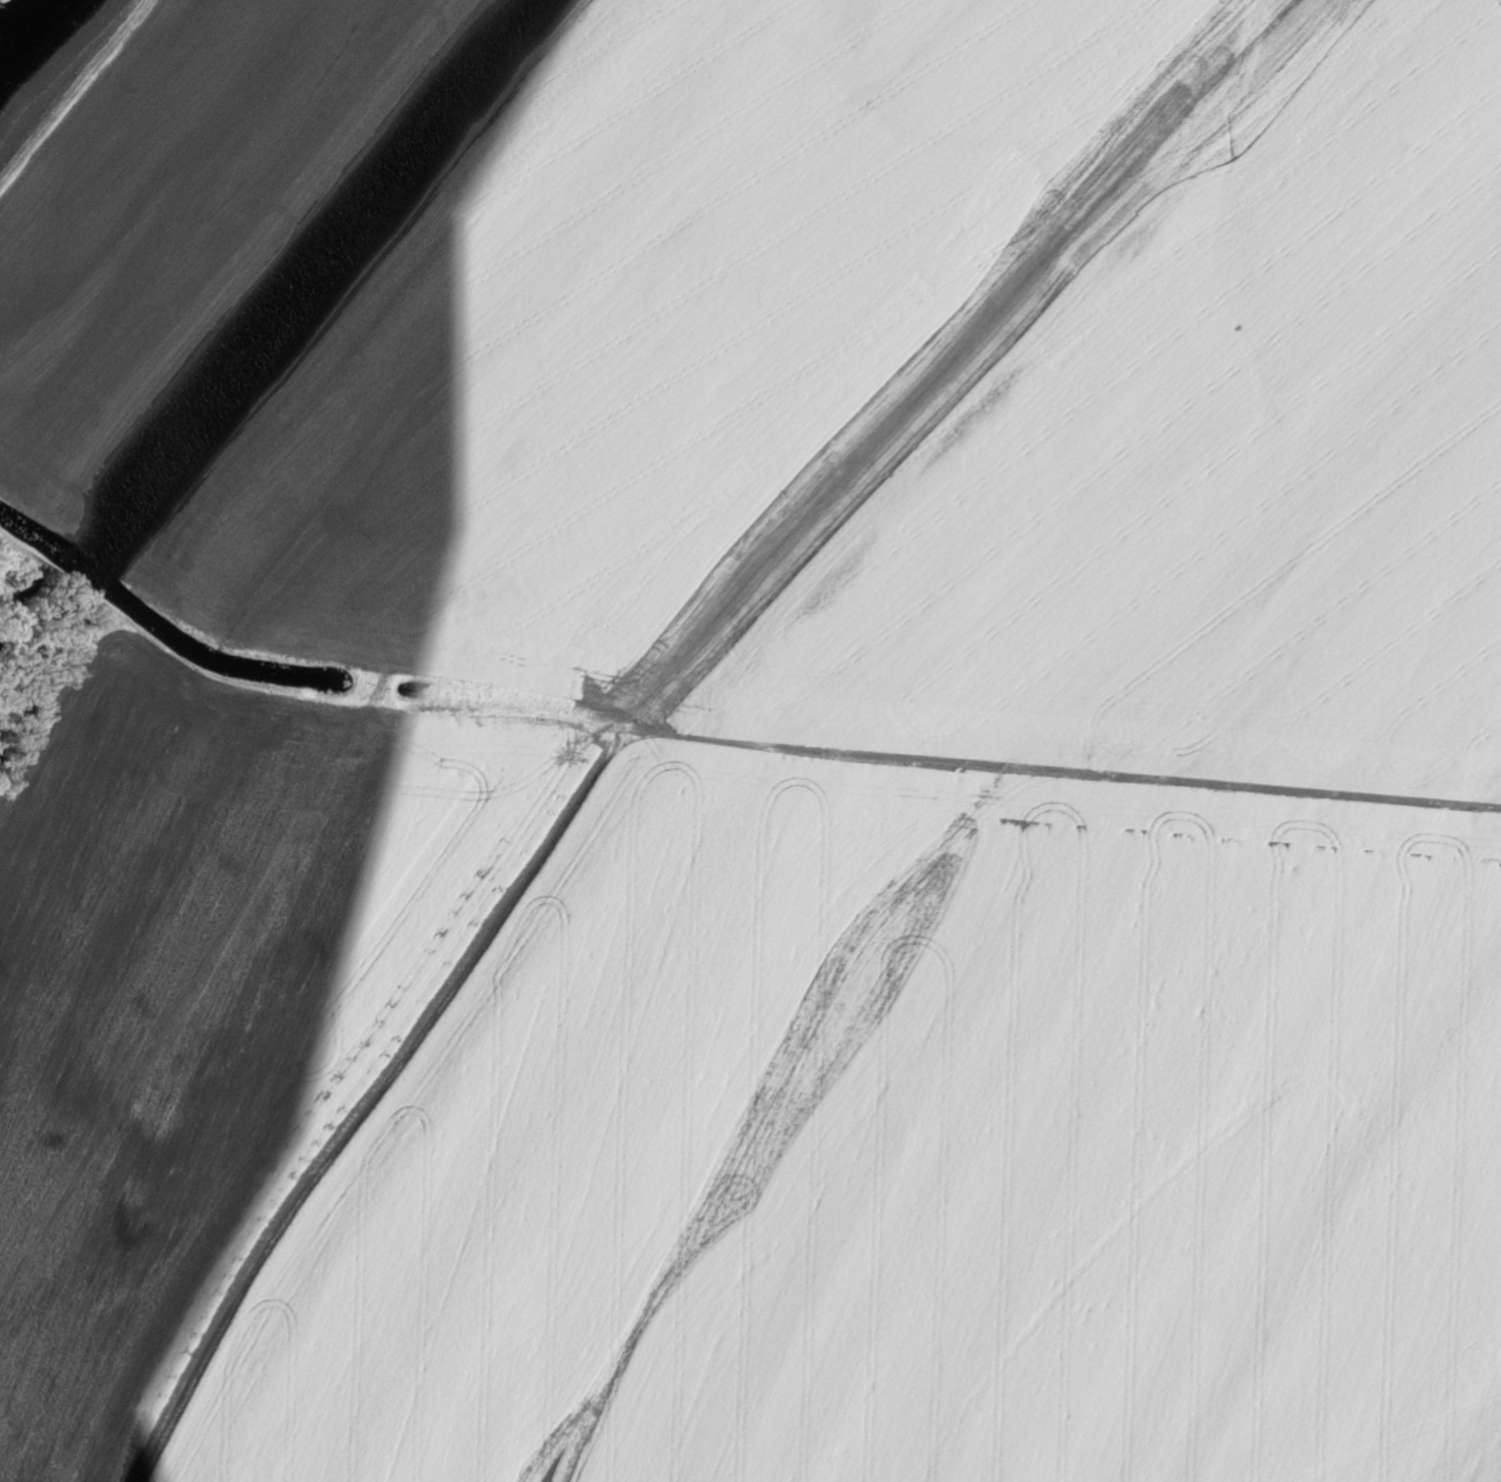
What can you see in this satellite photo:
road: (435, 618)

